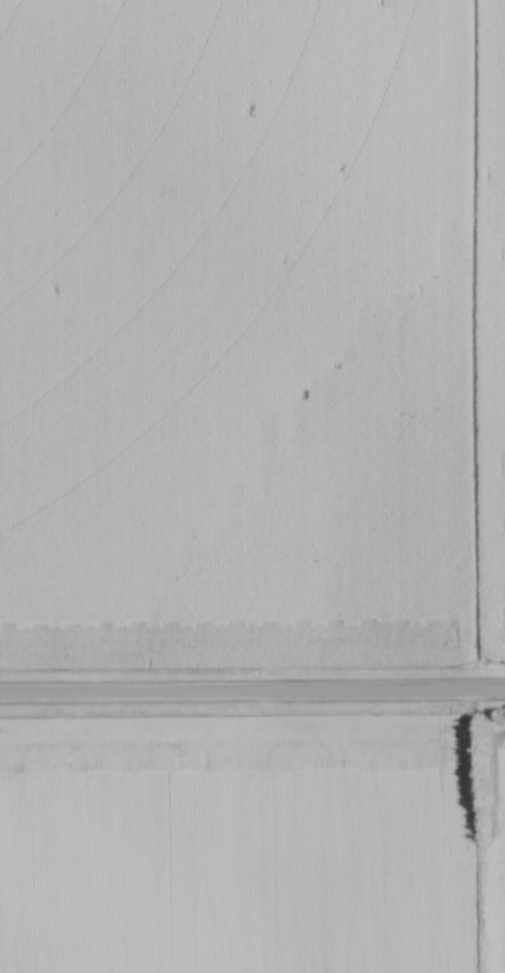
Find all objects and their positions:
road: (252, 699)

